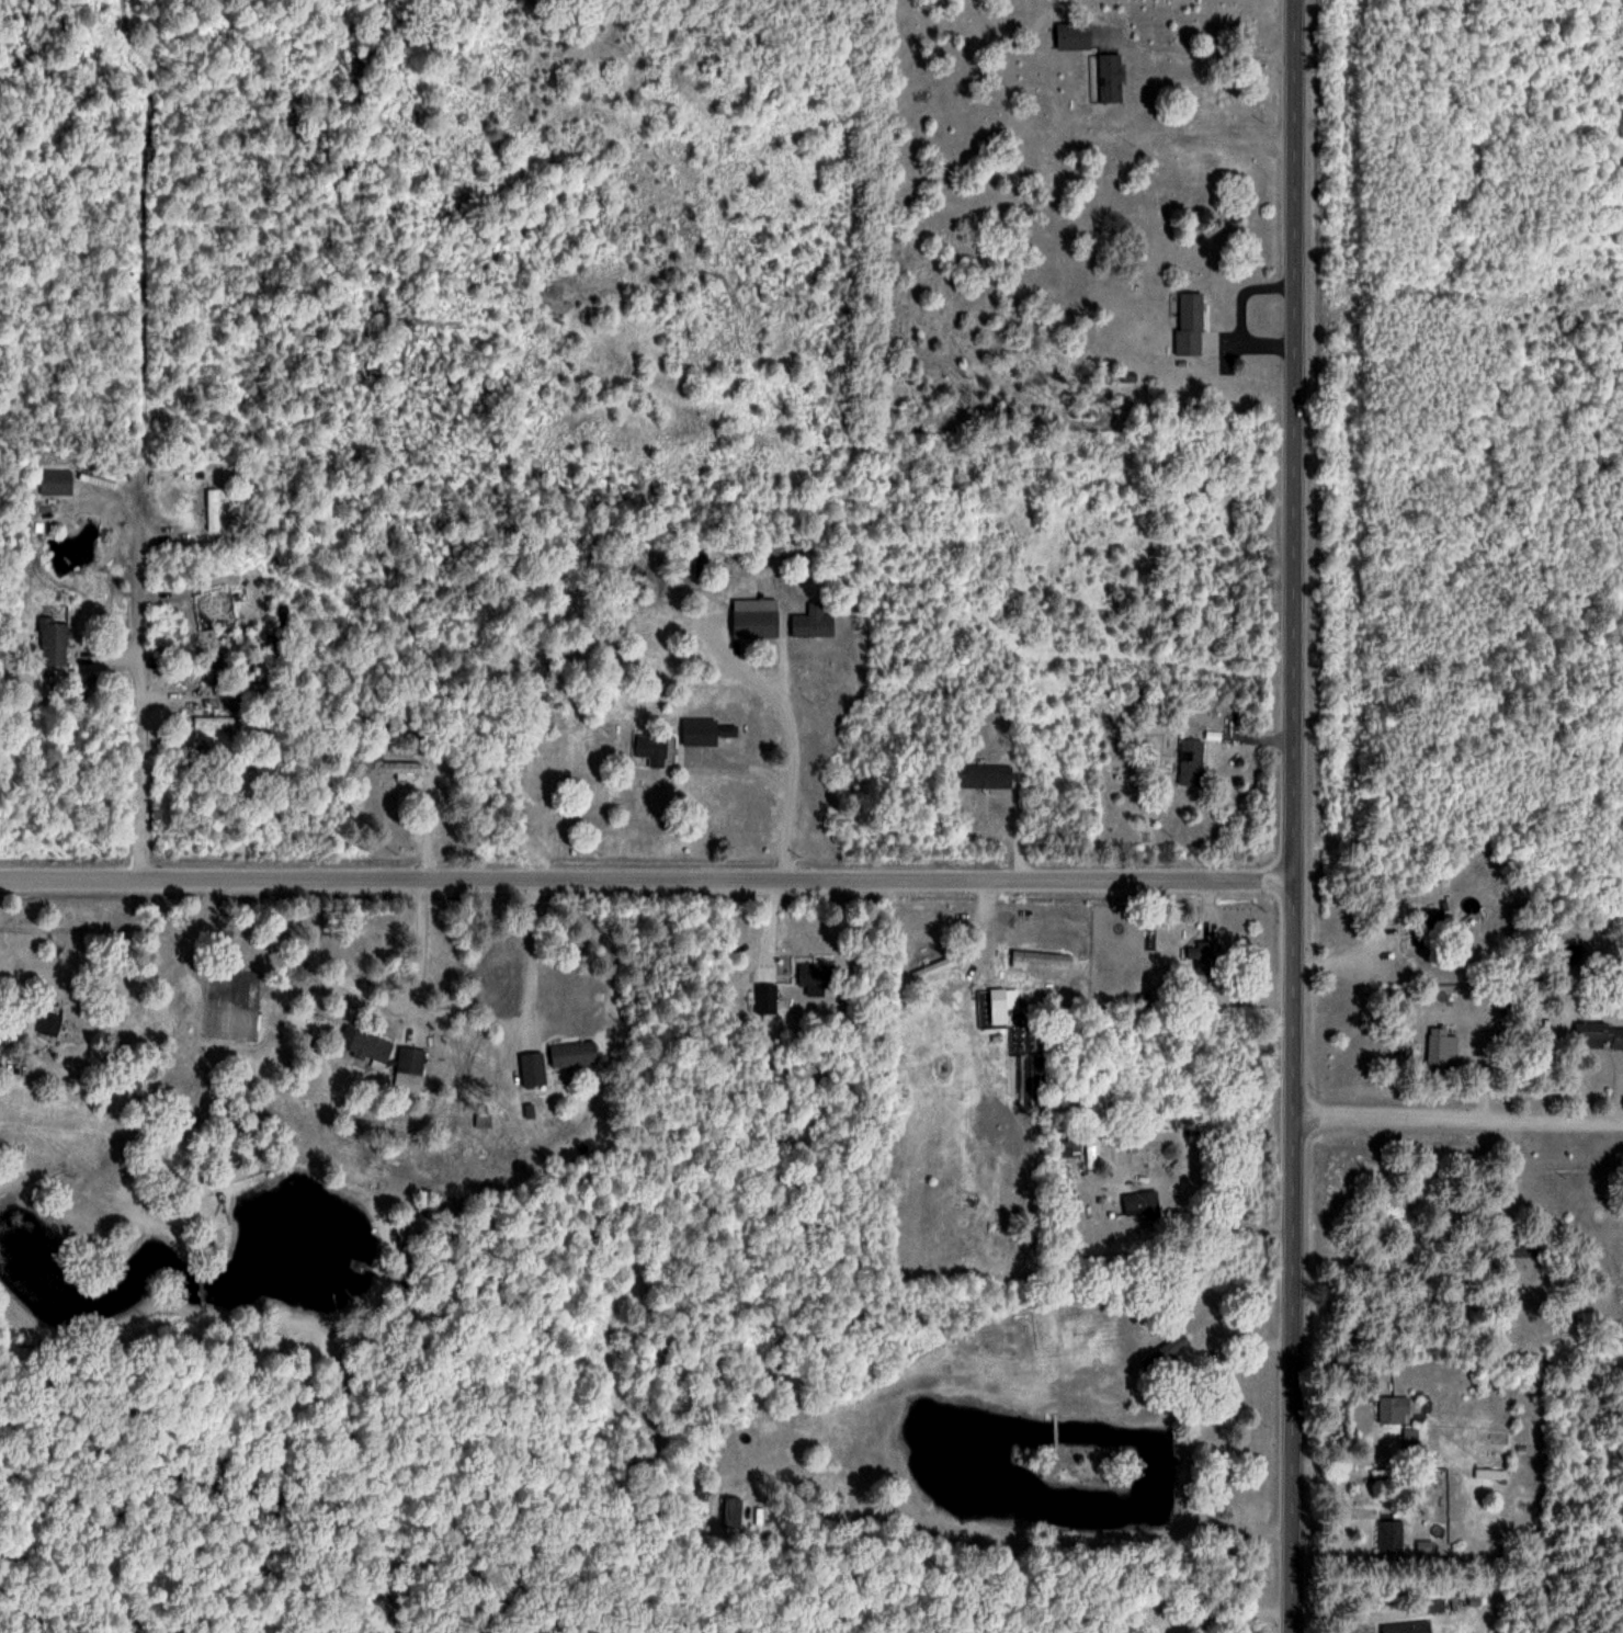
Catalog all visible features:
building: (1072, 35)
road: (1201, 55)
building: (1110, 77)
building: (1189, 322)
building: (55, 481)
building: (212, 507)
road: (154, 540)
building: (811, 621)
building: (753, 622)
building: (52, 640)
building: (215, 721)
building: (699, 730)
building: (726, 735)
road: (794, 735)
building: (650, 748)
building: (1190, 761)
building: (389, 766)
building: (984, 775)
road: (1293, 816)
road: (646, 880)
road: (772, 926)
building: (1048, 954)
road: (529, 955)
building: (1202, 955)
building: (935, 966)
road: (155, 968)
building: (815, 974)
building: (765, 997)
road: (374, 1001)
building: (997, 1002)
building: (50, 1016)
building: (1599, 1035)
building: (364, 1045)
building: (1441, 1046)
building: (571, 1053)
building: (410, 1063)
building: (531, 1067)
road: (1457, 1118)
building: (1069, 1145)
building: (1139, 1202)
road: (1230, 1221)
building: (1518, 1248)
building: (355, 1265)
building: (1167, 1350)
building: (1393, 1409)
building: (1490, 1473)
building: (731, 1510)
building: (1389, 1535)
building: (1423, 1545)
building: (1434, 1604)

